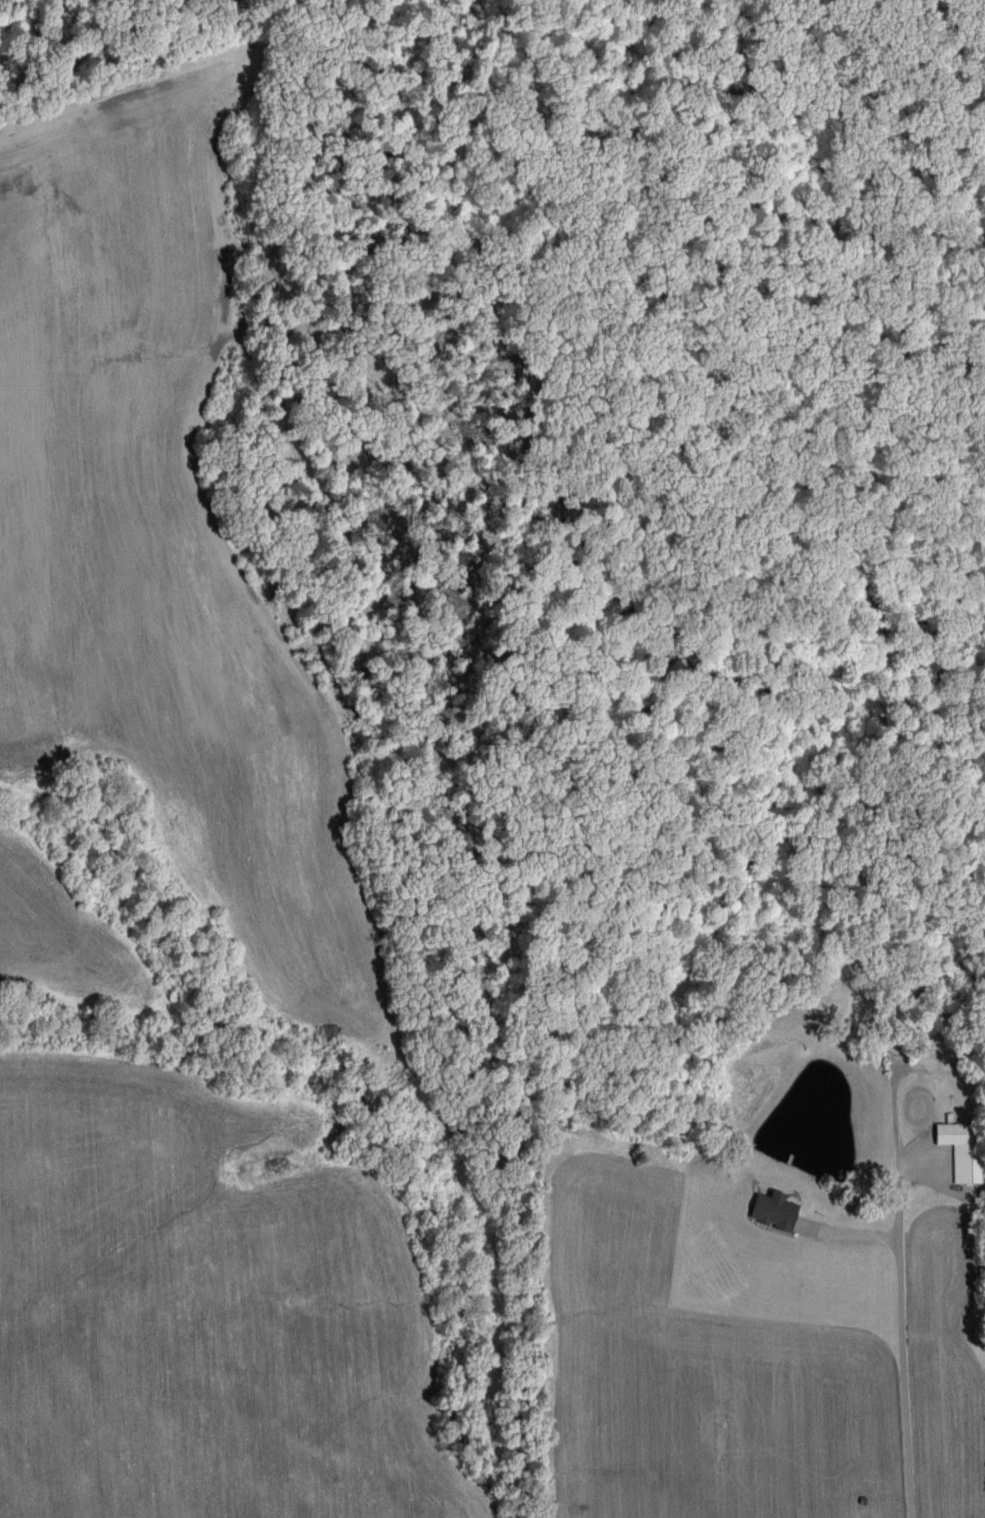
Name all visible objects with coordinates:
building: (955, 1151)
building: (768, 1211)
road: (916, 1346)

